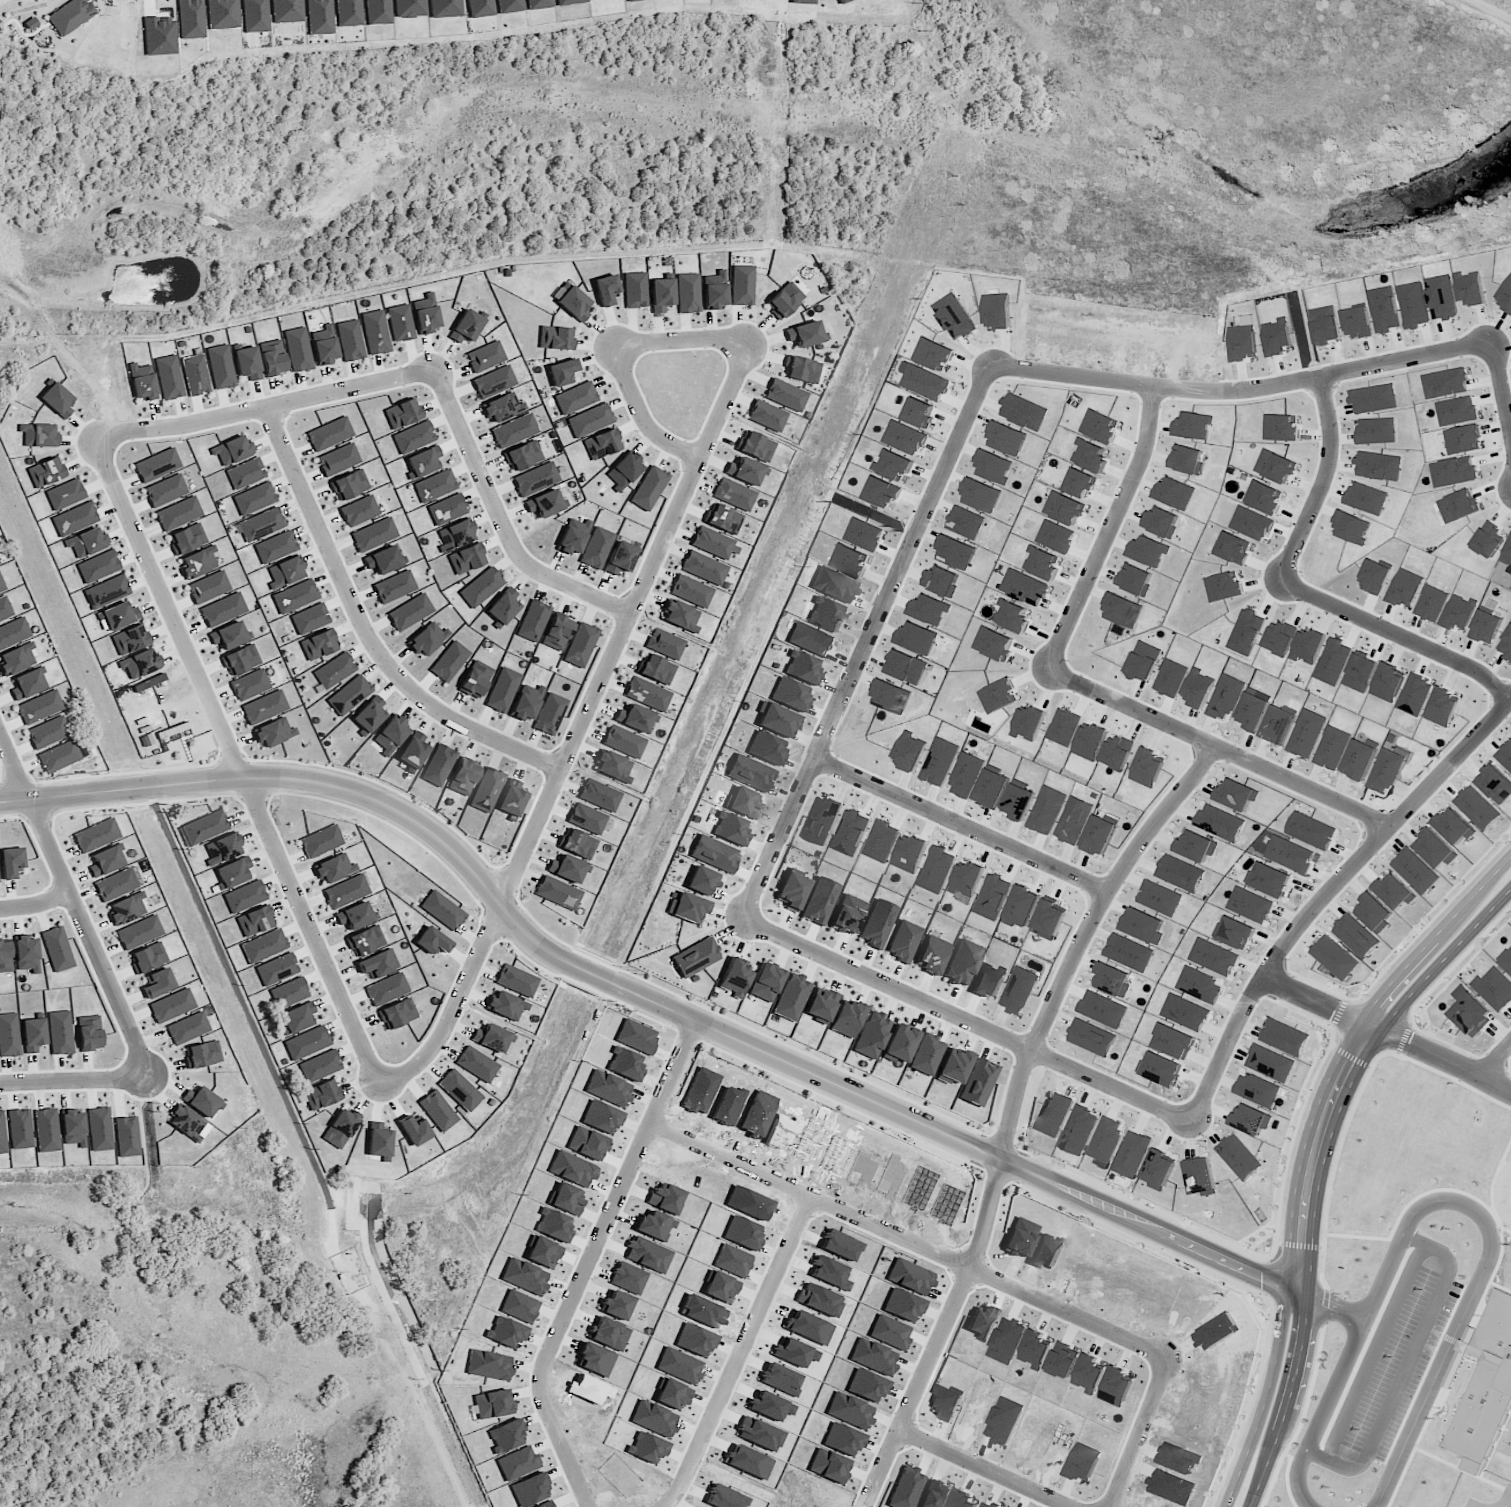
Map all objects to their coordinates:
building: (633, 0)
building: (842, 1)
building: (802, 2)
building: (537, 4)
building: (508, 6)
building: (409, 8)
building: (445, 8)
building: (479, 8)
building: (287, 11)
building: (378, 12)
building: (348, 13)
building: (222, 14)
building: (70, 16)
building: (255, 16)
building: (319, 17)
building: (742, 285)
building: (605, 290)
building: (635, 290)
building: (714, 291)
building: (688, 293)
building: (661, 295)
building: (784, 300)
building: (573, 304)
building: (997, 311)
building: (425, 314)
building: (955, 316)
building: (400, 323)
building: (467, 325)
building: (375, 332)
building: (803, 334)
building: (555, 338)
road: (682, 340)
building: (350, 341)
building: (324, 345)
building: (298, 350)
building: (934, 354)
building: (485, 357)
building: (273, 358)
building: (247, 363)
building: (220, 367)
building: (801, 370)
building: (560, 372)
building: (195, 375)
building: (168, 378)
building: (143, 382)
building: (493, 382)
building: (926, 382)
road: (1241, 389)
building: (785, 395)
road: (1500, 397)
building: (574, 398)
building: (57, 400)
building: (500, 407)
road: (266, 411)
building: (1024, 411)
building: (920, 412)
road: (642, 413)
building: (401, 414)
building: (767, 416)
building: (589, 421)
building: (1194, 425)
building: (1100, 426)
building: (514, 430)
building: (329, 434)
building: (38, 435)
building: (413, 437)
building: (905, 437)
building: (1007, 438)
building: (601, 444)
building: (755, 446)
building: (232, 451)
building: (522, 456)
building: (1090, 456)
building: (1186, 459)
building: (337, 460)
building: (422, 462)
building: (156, 465)
building: (894, 465)
building: (994, 466)
building: (624, 471)
building: (744, 471)
building: (46, 472)
building: (245, 474)
building: (535, 479)
building: (1081, 482)
road: (1322, 483)
building: (349, 485)
building: (434, 486)
building: (165, 491)
building: (882, 492)
building: (1175, 493)
building: (65, 495)
building: (733, 495)
building: (981, 495)
building: (254, 499)
building: (544, 504)
building: (1064, 508)
building: (447, 510)
building: (359, 511)
building: (178, 514)
building: (74, 519)
building: (723, 519)
road: (504, 520)
building: (965, 521)
building: (1160, 522)
building: (260, 525)
road: (1108, 529)
building: (864, 534)
building: (373, 535)
building: (455, 535)
building: (573, 536)
building: (1056, 536)
building: (188, 539)
building: (87, 543)
building: (714, 544)
building: (276, 547)
building: (1233, 547)
building: (596, 548)
building: (1148, 551)
building: (955, 552)
building: (620, 558)
building: (465, 559)
building: (382, 560)
building: (851, 560)
building: (198, 563)
building: (1043, 563)
building: (98, 567)
building: (703, 568)
building: (285, 572)
building: (1135, 579)
building: (941, 581)
building: (834, 585)
building: (1224, 586)
building: (1, 587)
building: (394, 587)
building: (481, 587)
building: (1025, 587)
building: (208, 588)
building: (106, 591)
building: (690, 591)
building: (295, 597)
building: (503, 606)
building: (5, 609)
building: (222, 609)
building: (930, 609)
building: (1122, 610)
building: (409, 612)
building: (826, 614)
building: (680, 616)
building: (1013, 616)
building: (117, 617)
building: (310, 619)
building: (533, 621)
building: (1247, 631)
building: (14, 632)
road: (366, 633)
building: (557, 633)
road: (1401, 635)
building: (229, 636)
building: (917, 638)
building: (427, 639)
building: (811, 639)
building: (130, 640)
road: (866, 640)
building: (994, 643)
building: (664, 644)
building: (318, 645)
building: (580, 645)
building: (16, 659)
building: (241, 660)
building: (449, 661)
building: (1143, 661)
building: (140, 664)
building: (907, 667)
building: (802, 668)
building: (655, 669)
building: (334, 671)
building: (1171, 678)
building: (475, 680)
building: (149, 683)
building: (27, 684)
building: (249, 685)
building: (1198, 688)
building: (502, 690)
building: (647, 693)
building: (349, 695)
building: (790, 695)
building: (998, 695)
building: (891, 696)
building: (1226, 697)
building: (526, 703)
building: (39, 707)
building: (264, 708)
building: (1253, 711)
building: (549, 714)
building: (369, 715)
building: (633, 718)
building: (776, 720)
building: (1029, 722)
road: (582, 723)
building: (1278, 725)
building: (1064, 726)
building: (48, 733)
building: (274, 733)
building: (1307, 733)
building: (391, 735)
building: (623, 741)
building: (1091, 742)
building: (766, 748)
road: (1219, 748)
building: (1332, 748)
building: (413, 751)
building: (910, 751)
building: (1118, 752)
building: (58, 757)
road: (237, 758)
building: (1359, 759)
building: (939, 761)
building: (438, 765)
building: (613, 767)
building: (1148, 767)
building: (1386, 770)
building: (750, 773)
building: (966, 774)
building: (463, 778)
building: (992, 788)
building: (486, 790)
building: (1237, 794)
building: (599, 795)
building: (511, 798)
building: (1018, 801)
building: (743, 803)
building: (1478, 807)
building: (1047, 810)
building: (586, 819)
building: (822, 820)
building: (1074, 820)
road: (961, 822)
building: (1220, 822)
building: (1454, 826)
building: (731, 829)
building: (1311, 830)
building: (851, 832)
building: (96, 835)
building: (1099, 835)
building: (881, 840)
building: (321, 842)
building: (577, 843)
building: (1195, 846)
building: (222, 848)
building: (1435, 848)
building: (910, 854)
building: (1290, 854)
building: (105, 861)
building: (11, 862)
building: (334, 868)
building: (566, 868)
building: (936, 869)
building: (1415, 870)
building: (233, 872)
building: (1180, 873)
building: (967, 878)
building: (1269, 880)
building: (701, 881)
building: (115, 885)
building: (347, 891)
building: (791, 891)
building: (1395, 891)
building: (558, 893)
road: (1326, 895)
building: (244, 896)
building: (992, 896)
building: (1159, 897)
road: (73, 901)
building: (820, 901)
road: (35, 903)
building: (1251, 904)
building: (1022, 906)
building: (687, 908)
building: (127, 909)
building: (442, 911)
building: (1374, 911)
building: (848, 915)
building: (354, 916)
building: (1049, 919)
building: (254, 921)
building: (878, 924)
building: (1143, 925)
building: (1234, 932)
building: (139, 933)
building: (1355, 936)
building: (366, 941)
building: (432, 941)
building: (904, 941)
building: (263, 946)
building: (57, 949)
building: (1129, 952)
building: (26, 954)
building: (932, 955)
building: (1214, 956)
building: (5, 957)
building: (696, 957)
building: (1334, 957)
building: (148, 958)
building: (1506, 960)
building: (963, 963)
building: (378, 964)
building: (276, 969)
building: (735, 977)
building: (1112, 979)
building: (516, 980)
building: (988, 980)
building: (765, 982)
building: (157, 983)
building: (1200, 985)
building: (1494, 988)
building: (386, 989)
building: (1019, 990)
building: (289, 993)
building: (791, 997)
road: (654, 1001)
building: (820, 1005)
building: (171, 1006)
building: (506, 1006)
building: (1102, 1009)
building: (1186, 1012)
building: (1470, 1013)
building: (397, 1014)
building: (298, 1017)
building: (846, 1019)
road: (968, 1021)
building: (187, 1028)
road: (1387, 1032)
building: (60, 1033)
building: (89, 1033)
building: (33, 1035)
building: (870, 1035)
building: (9, 1036)
building: (1091, 1037)
building: (1285, 1037)
building: (491, 1038)
building: (1173, 1040)
building: (307, 1043)
building: (899, 1044)
building: (202, 1055)
building: (926, 1055)
road: (1496, 1060)
building: (1271, 1063)
building: (476, 1064)
building: (319, 1066)
building: (953, 1067)
building: (1160, 1069)
road: (69, 1080)
building: (978, 1082)
building: (1257, 1089)
building: (459, 1090)
building: (322, 1095)
building: (200, 1101)
building: (437, 1110)
road: (1017, 1111)
building: (1054, 1113)
building: (1251, 1119)
building: (188, 1124)
building: (72, 1128)
building: (340, 1128)
building: (20, 1129)
building: (99, 1129)
building: (46, 1130)
building: (1079, 1130)
building: (413, 1131)
building: (2, 1134)
building: (127, 1137)
building: (1106, 1139)
building: (378, 1141)
building: (1132, 1154)
building: (1238, 1157)
road: (1314, 1162)
building: (1158, 1169)
building: (1200, 1176)
road: (1332, 1183)
road: (1502, 1190)
road: (921, 1245)
road: (601, 1265)
road: (1483, 1269)
road: (1328, 1301)
road: (1427, 1316)
road: (753, 1355)
building: (1454, 1369)
building: (1486, 1386)
road: (1321, 1400)
road: (1344, 1409)
road: (1153, 1434)
road: (389, 1470)
road: (990, 1472)

